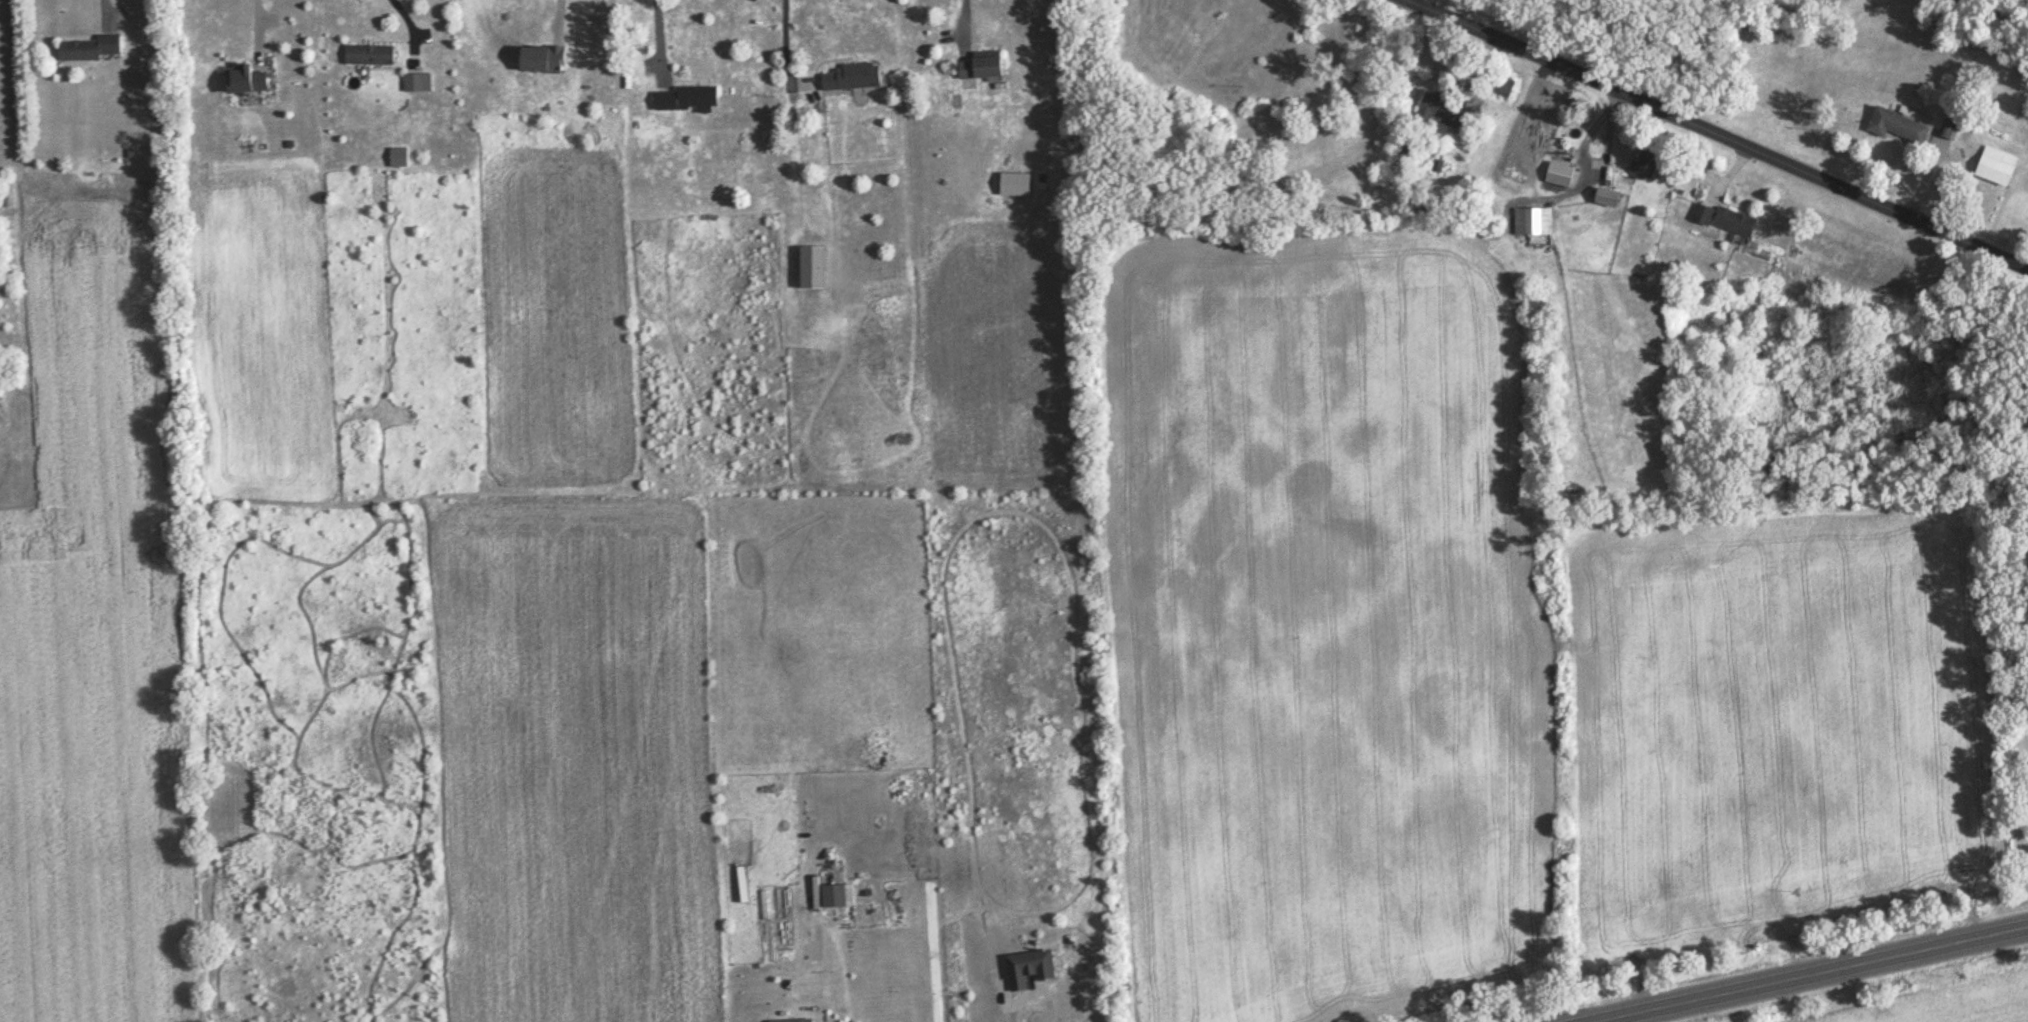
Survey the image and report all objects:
road: (102, 2)
road: (556, 2)
road: (963, 9)
road: (256, 17)
road: (659, 32)
building: (90, 51)
road: (786, 55)
building: (370, 56)
building: (543, 61)
building: (982, 68)
building: (854, 79)
building: (246, 81)
building: (418, 84)
building: (1504, 89)
building: (688, 101)
building: (1442, 112)
building: (1899, 128)
road: (1722, 131)
building: (1951, 132)
building: (399, 159)
building: (1648, 165)
building: (1998, 169)
building: (1608, 199)
building: (1703, 216)
building: (1534, 223)
building: (1735, 224)
building: (835, 898)
road: (2025, 918)
road: (1776, 963)
building: (1031, 971)

